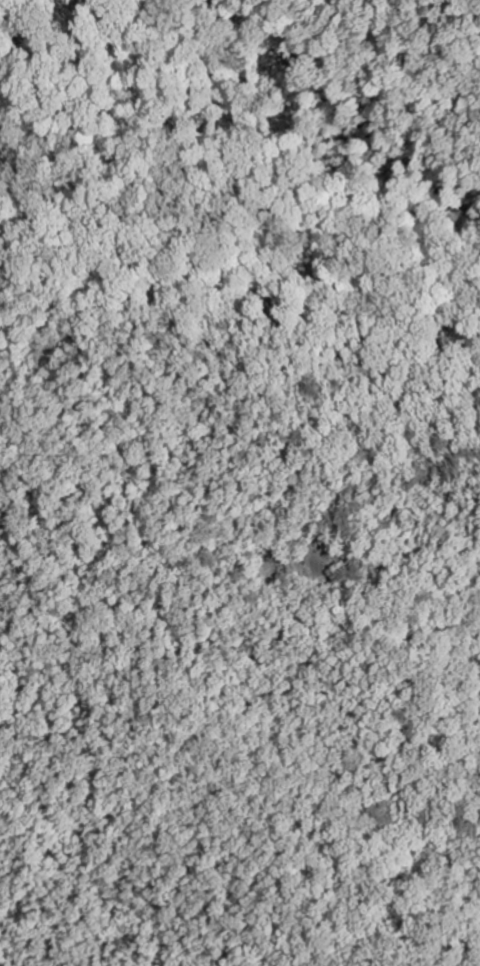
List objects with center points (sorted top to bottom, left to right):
road: (19, 43)
road: (1, 231)

